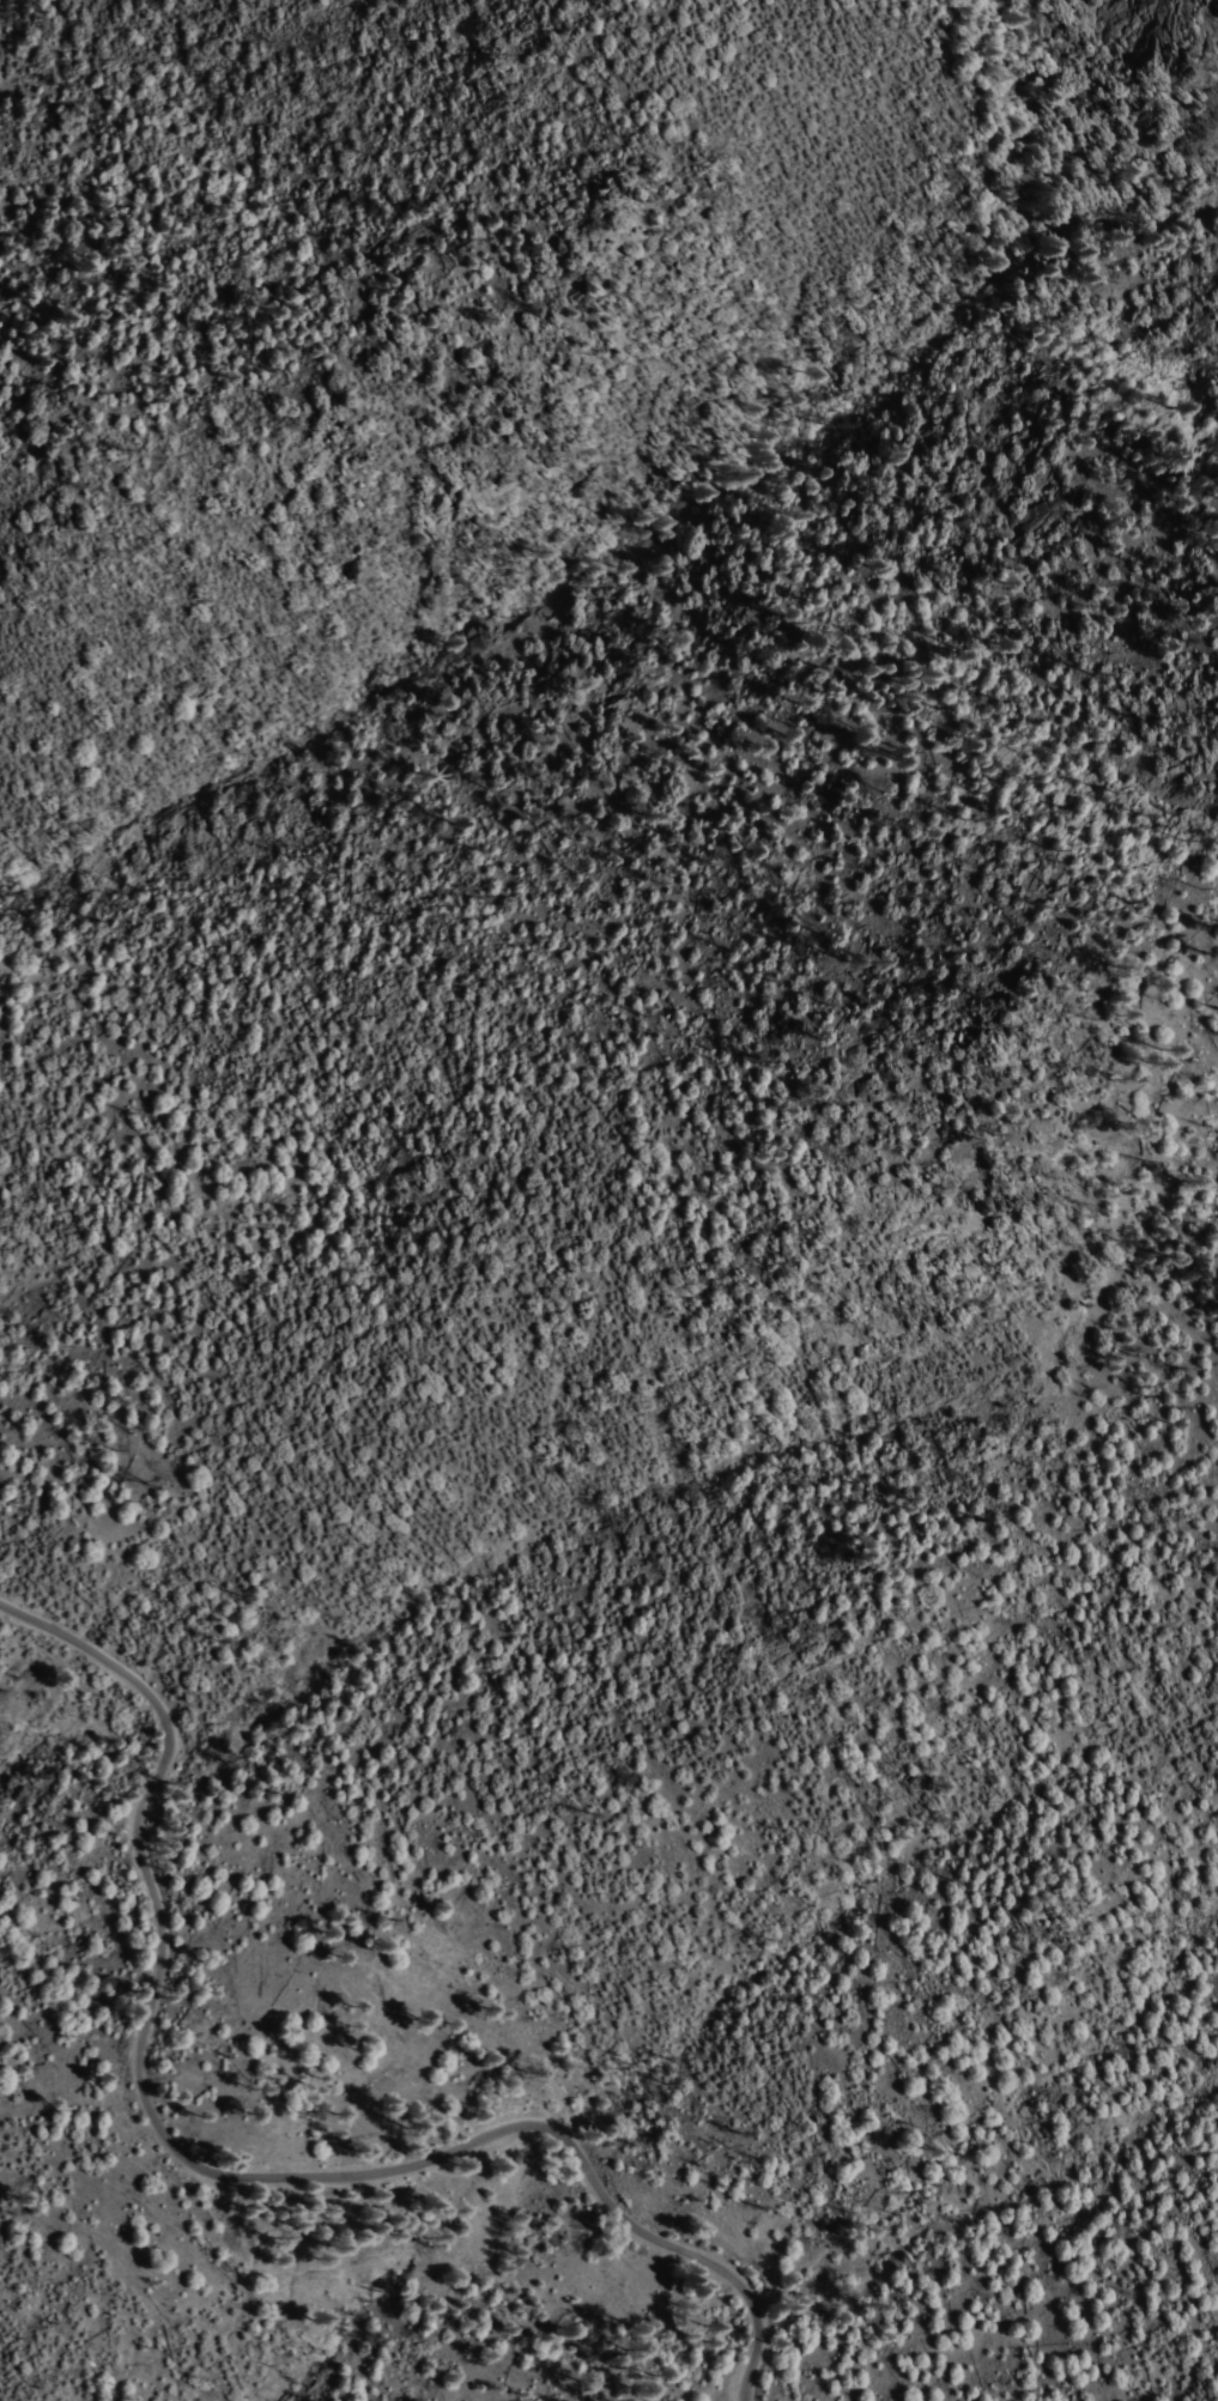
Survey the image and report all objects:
road: (223, 2173)

